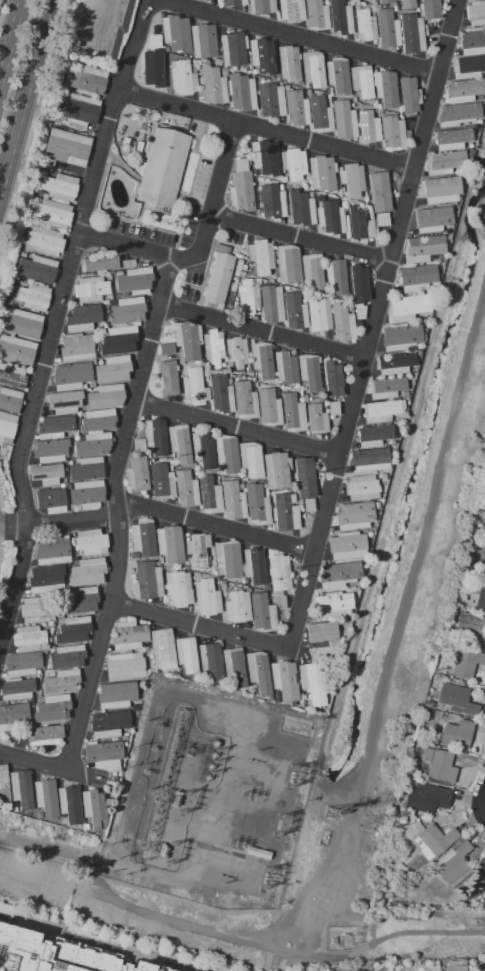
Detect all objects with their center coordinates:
building: (375, 2)
building: (385, 2)
building: (233, 3)
building: (407, 4)
building: (261, 6)
building: (394, 8)
building: (371, 9)
building: (430, 9)
building: (291, 10)
building: (476, 13)
building: (316, 14)
building: (340, 17)
building: (365, 25)
building: (97, 29)
building: (387, 29)
building: (175, 33)
building: (412, 34)
road: (9, 36)
road: (301, 36)
building: (153, 37)
building: (203, 41)
building: (472, 41)
building: (166, 49)
building: (233, 49)
building: (262, 56)
building: (217, 62)
building: (289, 64)
building: (469, 67)
building: (312, 69)
building: (254, 71)
building: (153, 72)
building: (338, 76)
building: (183, 78)
building: (278, 78)
building: (273, 79)
building: (85, 80)
building: (361, 81)
building: (212, 86)
building: (285, 87)
building: (385, 88)
building: (464, 90)
building: (308, 92)
road: (24, 93)
building: (241, 93)
building: (409, 95)
building: (328, 96)
building: (270, 100)
building: (296, 107)
building: (377, 108)
building: (77, 109)
building: (320, 114)
building: (458, 114)
building: (343, 120)
building: (465, 124)
building: (369, 125)
building: (476, 125)
road: (266, 130)
building: (392, 133)
building: (453, 139)
building: (66, 148)
building: (471, 153)
building: (264, 157)
building: (444, 162)
building: (293, 163)
building: (241, 164)
building: (162, 167)
building: (282, 170)
building: (322, 173)
building: (284, 180)
building: (352, 180)
building: (60, 186)
building: (280, 187)
building: (441, 190)
building: (241, 191)
building: (380, 192)
building: (38, 193)
building: (343, 193)
building: (310, 194)
building: (319, 198)
building: (272, 201)
building: (300, 208)
building: (52, 214)
building: (330, 217)
building: (432, 219)
building: (381, 220)
building: (29, 221)
building: (359, 224)
building: (449, 228)
road: (302, 234)
building: (449, 236)
building: (43, 241)
road: (122, 247)
building: (422, 248)
building: (21, 254)
building: (260, 256)
building: (127, 263)
building: (98, 264)
building: (138, 264)
building: (287, 265)
building: (243, 268)
building: (36, 269)
building: (312, 271)
building: (118, 274)
building: (242, 274)
building: (219, 275)
building: (335, 277)
building: (417, 278)
building: (135, 281)
building: (13, 283)
building: (358, 284)
building: (294, 285)
building: (301, 287)
building: (90, 289)
building: (124, 294)
building: (250, 295)
building: (33, 297)
building: (349, 298)
building: (303, 301)
building: (105, 302)
building: (113, 303)
building: (270, 304)
building: (349, 307)
building: (407, 307)
building: (127, 311)
building: (294, 312)
building: (318, 314)
building: (82, 318)
road: (54, 320)
building: (22, 323)
building: (342, 323)
road: (375, 324)
road: (262, 331)
building: (401, 337)
building: (119, 340)
building: (188, 340)
building: (419, 346)
building: (213, 347)
building: (77, 348)
building: (166, 348)
building: (16, 350)
building: (237, 352)
building: (419, 353)
building: (261, 360)
building: (395, 362)
building: (285, 367)
building: (112, 369)
building: (309, 371)
building: (12, 376)
building: (71, 376)
building: (167, 377)
building: (206, 379)
building: (333, 379)
building: (229, 381)
building: (254, 385)
building: (194, 387)
building: (301, 388)
building: (388, 388)
building: (220, 394)
building: (105, 397)
building: (10, 400)
building: (244, 400)
building: (62, 402)
building: (268, 407)
building: (333, 409)
building: (382, 410)
building: (292, 412)
building: (316, 419)
building: (98, 420)
building: (7, 427)
building: (55, 427)
road: (238, 428)
road: (126, 432)
building: (156, 436)
building: (375, 436)
building: (388, 442)
building: (93, 444)
building: (138, 445)
building: (180, 445)
building: (394, 448)
building: (50, 450)
building: (149, 450)
building: (204, 450)
building: (226, 454)
building: (148, 456)
building: (172, 457)
building: (251, 459)
building: (369, 459)
building: (173, 464)
building: (195, 467)
building: (86, 469)
building: (276, 470)
building: (46, 474)
building: (137, 474)
building: (304, 477)
building: (383, 477)
building: (244, 480)
building: (161, 481)
building: (62, 485)
building: (264, 486)
building: (241, 487)
building: (185, 488)
building: (362, 488)
building: (86, 494)
building: (209, 495)
building: (51, 500)
building: (232, 500)
building: (299, 502)
building: (257, 505)
building: (309, 505)
building: (376, 505)
building: (284, 512)
building: (354, 516)
road: (59, 520)
road: (216, 528)
building: (483, 530)
building: (473, 532)
building: (143, 538)
building: (91, 542)
building: (170, 544)
building: (347, 545)
building: (197, 549)
building: (52, 550)
building: (134, 556)
building: (227, 559)
building: (160, 560)
building: (253, 566)
building: (484, 567)
building: (213, 568)
building: (88, 571)
building: (279, 572)
building: (214, 574)
building: (338, 574)
building: (44, 580)
building: (148, 583)
building: (358, 583)
building: (266, 587)
building: (178, 589)
building: (356, 589)
building: (60, 590)
building: (249, 590)
building: (477, 593)
building: (277, 594)
building: (269, 597)
building: (207, 598)
building: (79, 601)
building: (281, 603)
building: (333, 605)
building: (237, 607)
building: (452, 609)
building: (37, 610)
building: (262, 613)
building: (59, 616)
road: (399, 619)
building: (50, 623)
road: (201, 625)
building: (471, 627)
building: (73, 630)
building: (321, 631)
building: (127, 636)
building: (28, 638)
building: (51, 647)
building: (162, 649)
building: (482, 652)
building: (187, 654)
building: (66, 657)
building: (210, 661)
building: (467, 663)
building: (22, 664)
building: (449, 664)
building: (123, 666)
building: (233, 667)
building: (258, 673)
building: (436, 676)
building: (284, 680)
building: (61, 681)
building: (312, 684)
building: (16, 688)
building: (116, 695)
building: (277, 697)
building: (269, 698)
building: (457, 701)
building: (292, 704)
building: (428, 704)
building: (53, 706)
road: (221, 707)
building: (13, 715)
building: (45, 718)
building: (108, 724)
building: (457, 734)
building: (45, 735)
building: (104, 755)
building: (439, 765)
road: (57, 768)
building: (406, 779)
building: (4, 784)
building: (21, 789)
road: (466, 789)
power substation: (216, 793)
building: (46, 798)
building: (427, 798)
building: (175, 800)
building: (70, 804)
building: (15, 807)
building: (95, 808)
building: (39, 815)
power tower: (334, 818)
building: (86, 826)
power tower: (369, 828)
building: (434, 841)
road: (43, 850)
building: (161, 852)
building: (257, 854)
building: (454, 865)
building: (480, 869)
building: (405, 877)
parking lot: (35, 881)
building: (401, 881)
road: (35, 883)
road: (307, 886)
building: (395, 886)
road: (87, 897)
building: (393, 903)
building: (387, 904)
building: (403, 904)
park: (424, 933)
building: (357, 934)
building: (358, 939)
building: (340, 940)
building: (333, 941)
building: (348, 941)
road: (271, 950)
building: (58, 955)
road: (265, 960)
building: (456, 965)
road: (345, 969)
building: (356, 970)

